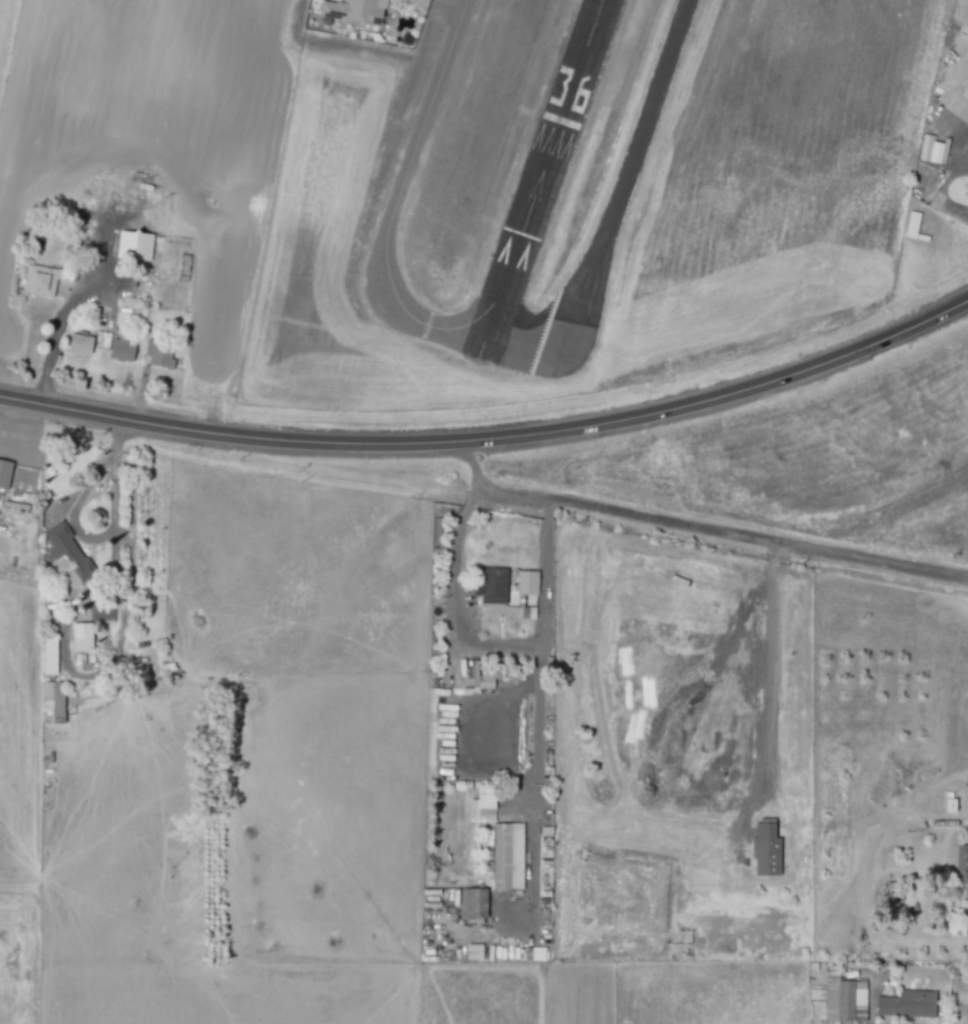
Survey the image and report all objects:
building: (967, 0)
building: (354, 13)
road: (967, 127)
building: (932, 150)
airport: (597, 193)
building: (120, 245)
building: (36, 282)
road: (57, 332)
airport taxiway: (465, 337)
building: (78, 343)
building: (119, 350)
building: (156, 355)
airport runway: (484, 360)
airport taxiway: (514, 369)
road: (493, 439)
road: (105, 469)
building: (4, 474)
road: (701, 530)
building: (62, 554)
building: (524, 583)
building: (489, 586)
road: (453, 600)
building: (78, 637)
building: (46, 657)
building: (482, 682)
building: (49, 703)
road: (482, 745)
road: (725, 798)
building: (963, 798)
building: (479, 805)
building: (948, 805)
building: (763, 849)
building: (504, 856)
building: (961, 871)
building: (470, 904)
building: (471, 952)
building: (533, 954)
building: (842, 1000)
building: (905, 1004)

